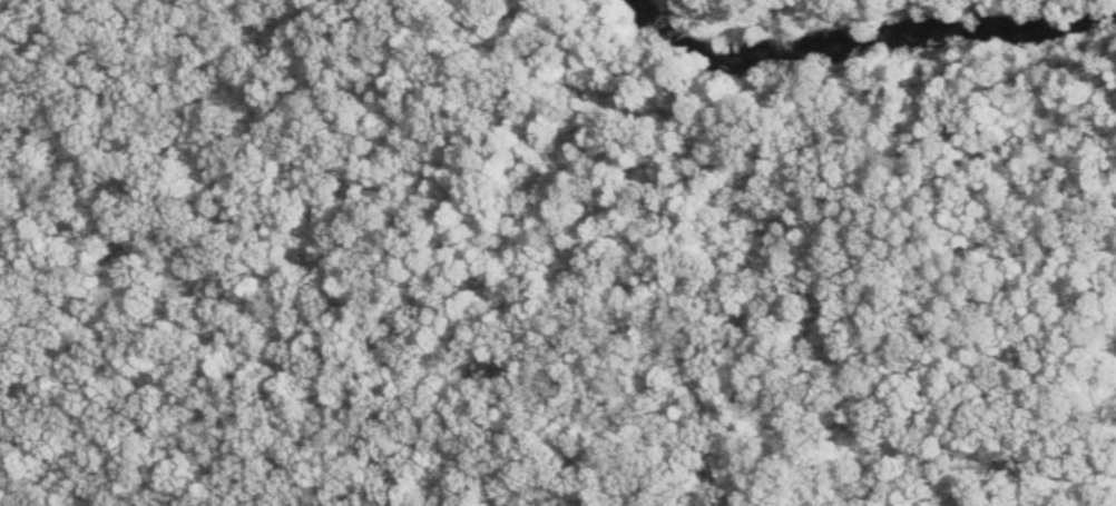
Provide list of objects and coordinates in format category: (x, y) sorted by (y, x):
river: (873, 37)

